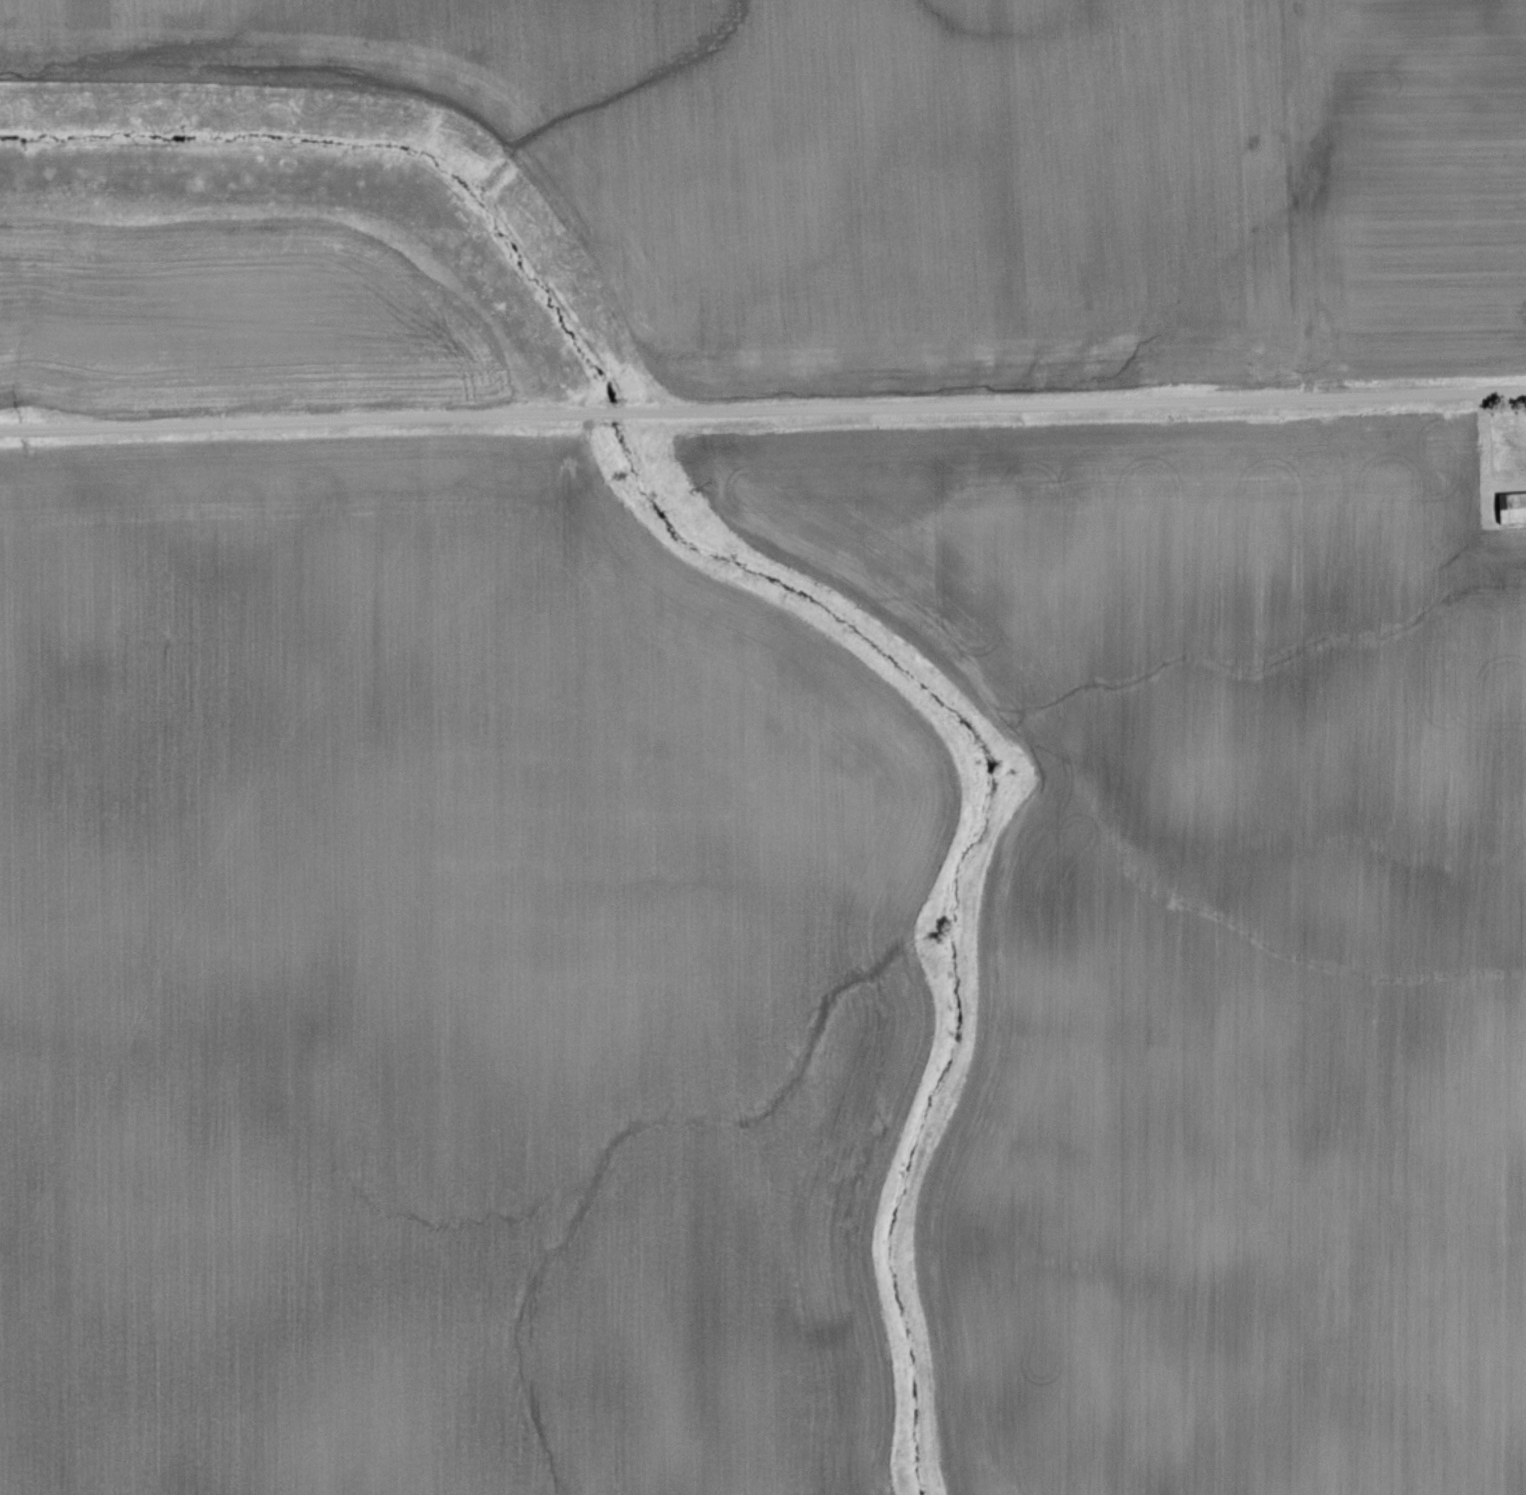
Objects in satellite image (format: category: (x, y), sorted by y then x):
crop: (954, 172)
crop: (233, 321)
road: (762, 409)
crop: (1218, 941)
crop: (438, 987)

